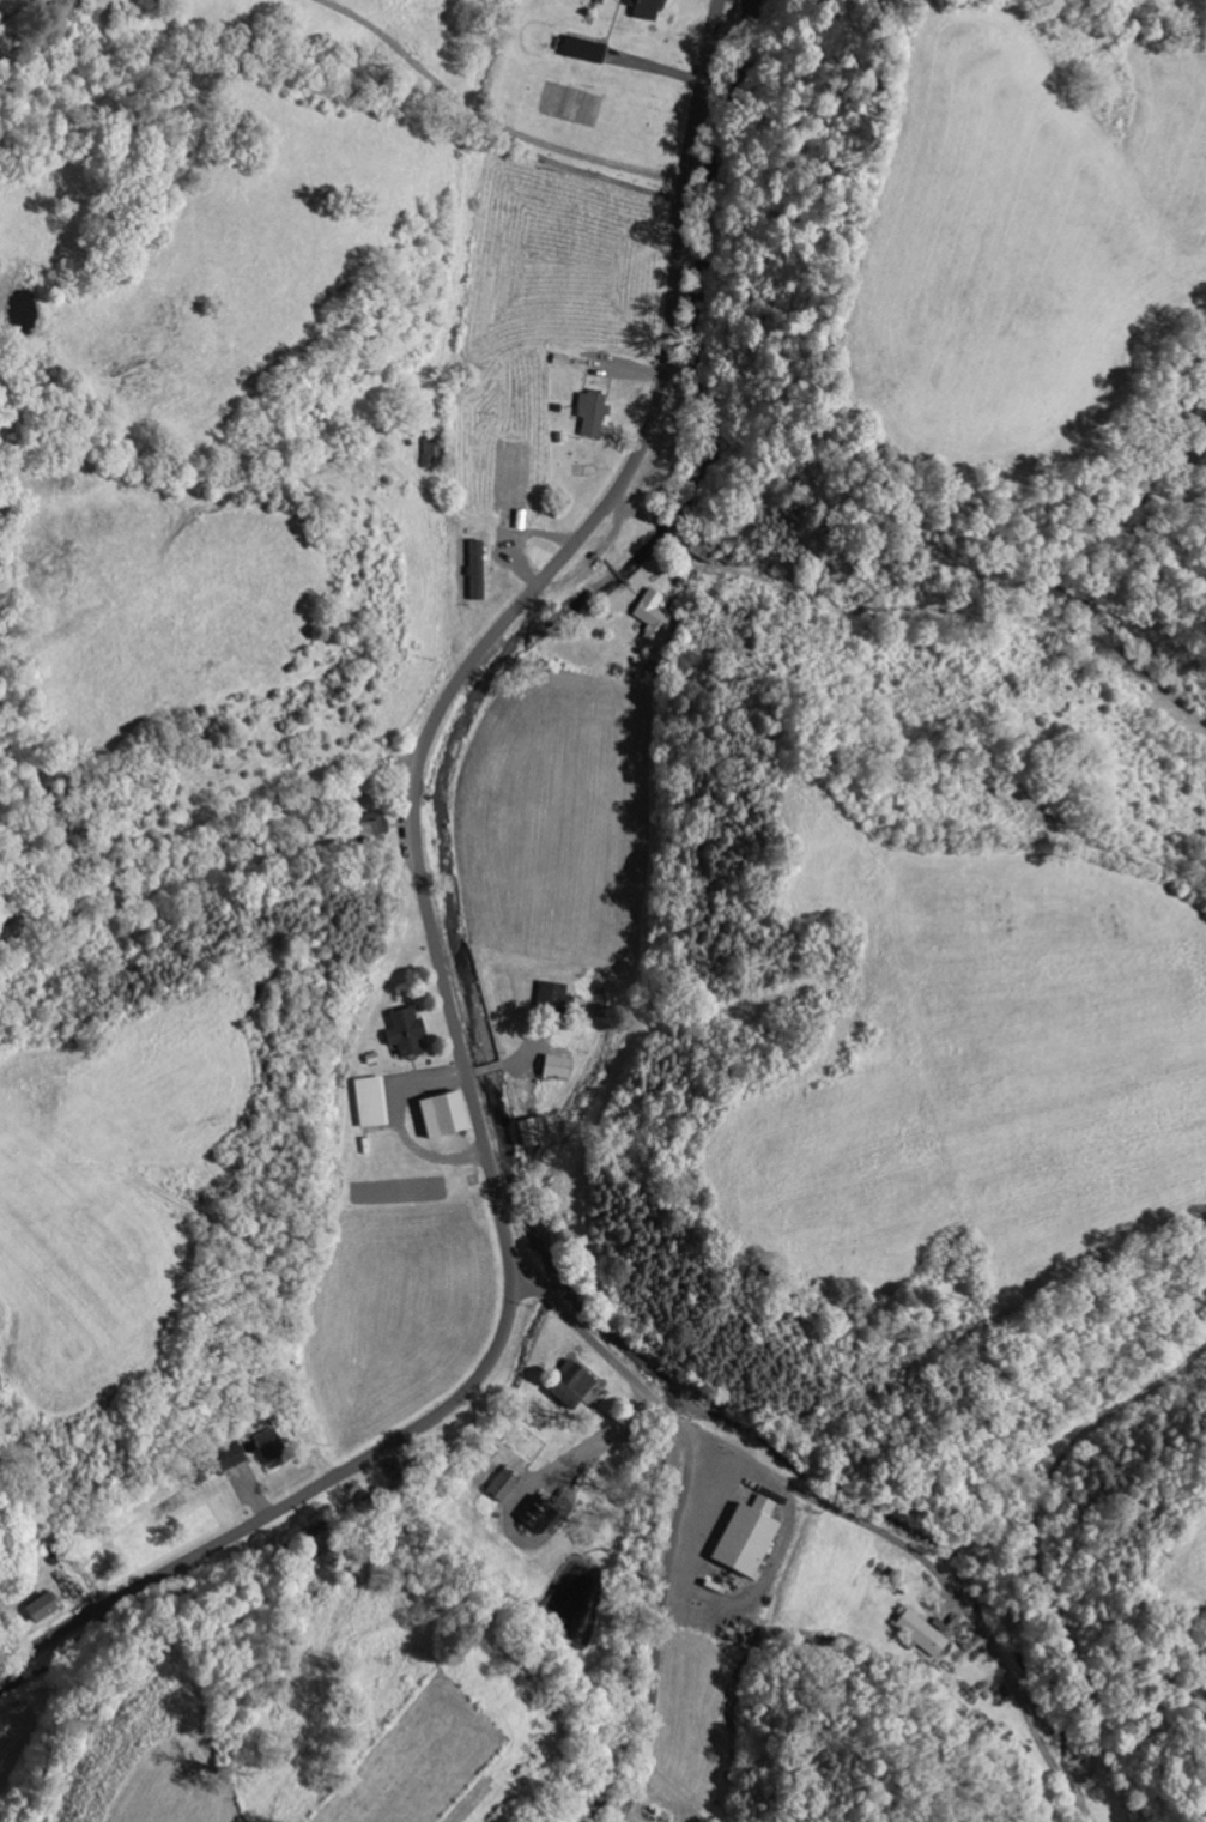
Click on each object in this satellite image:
building: (647, 8)
building: (586, 48)
building: (594, 411)
building: (435, 448)
building: (479, 567)
building: (653, 612)
road: (440, 937)
building: (557, 995)
building: (408, 1029)
building: (372, 1100)
building: (446, 1113)
building: (535, 1127)
road: (605, 1350)
building: (575, 1382)
building: (273, 1447)
building: (232, 1453)
building: (539, 1512)
building: (750, 1536)
road: (944, 1574)
building: (43, 1605)
road: (660, 1627)
building: (921, 1632)

